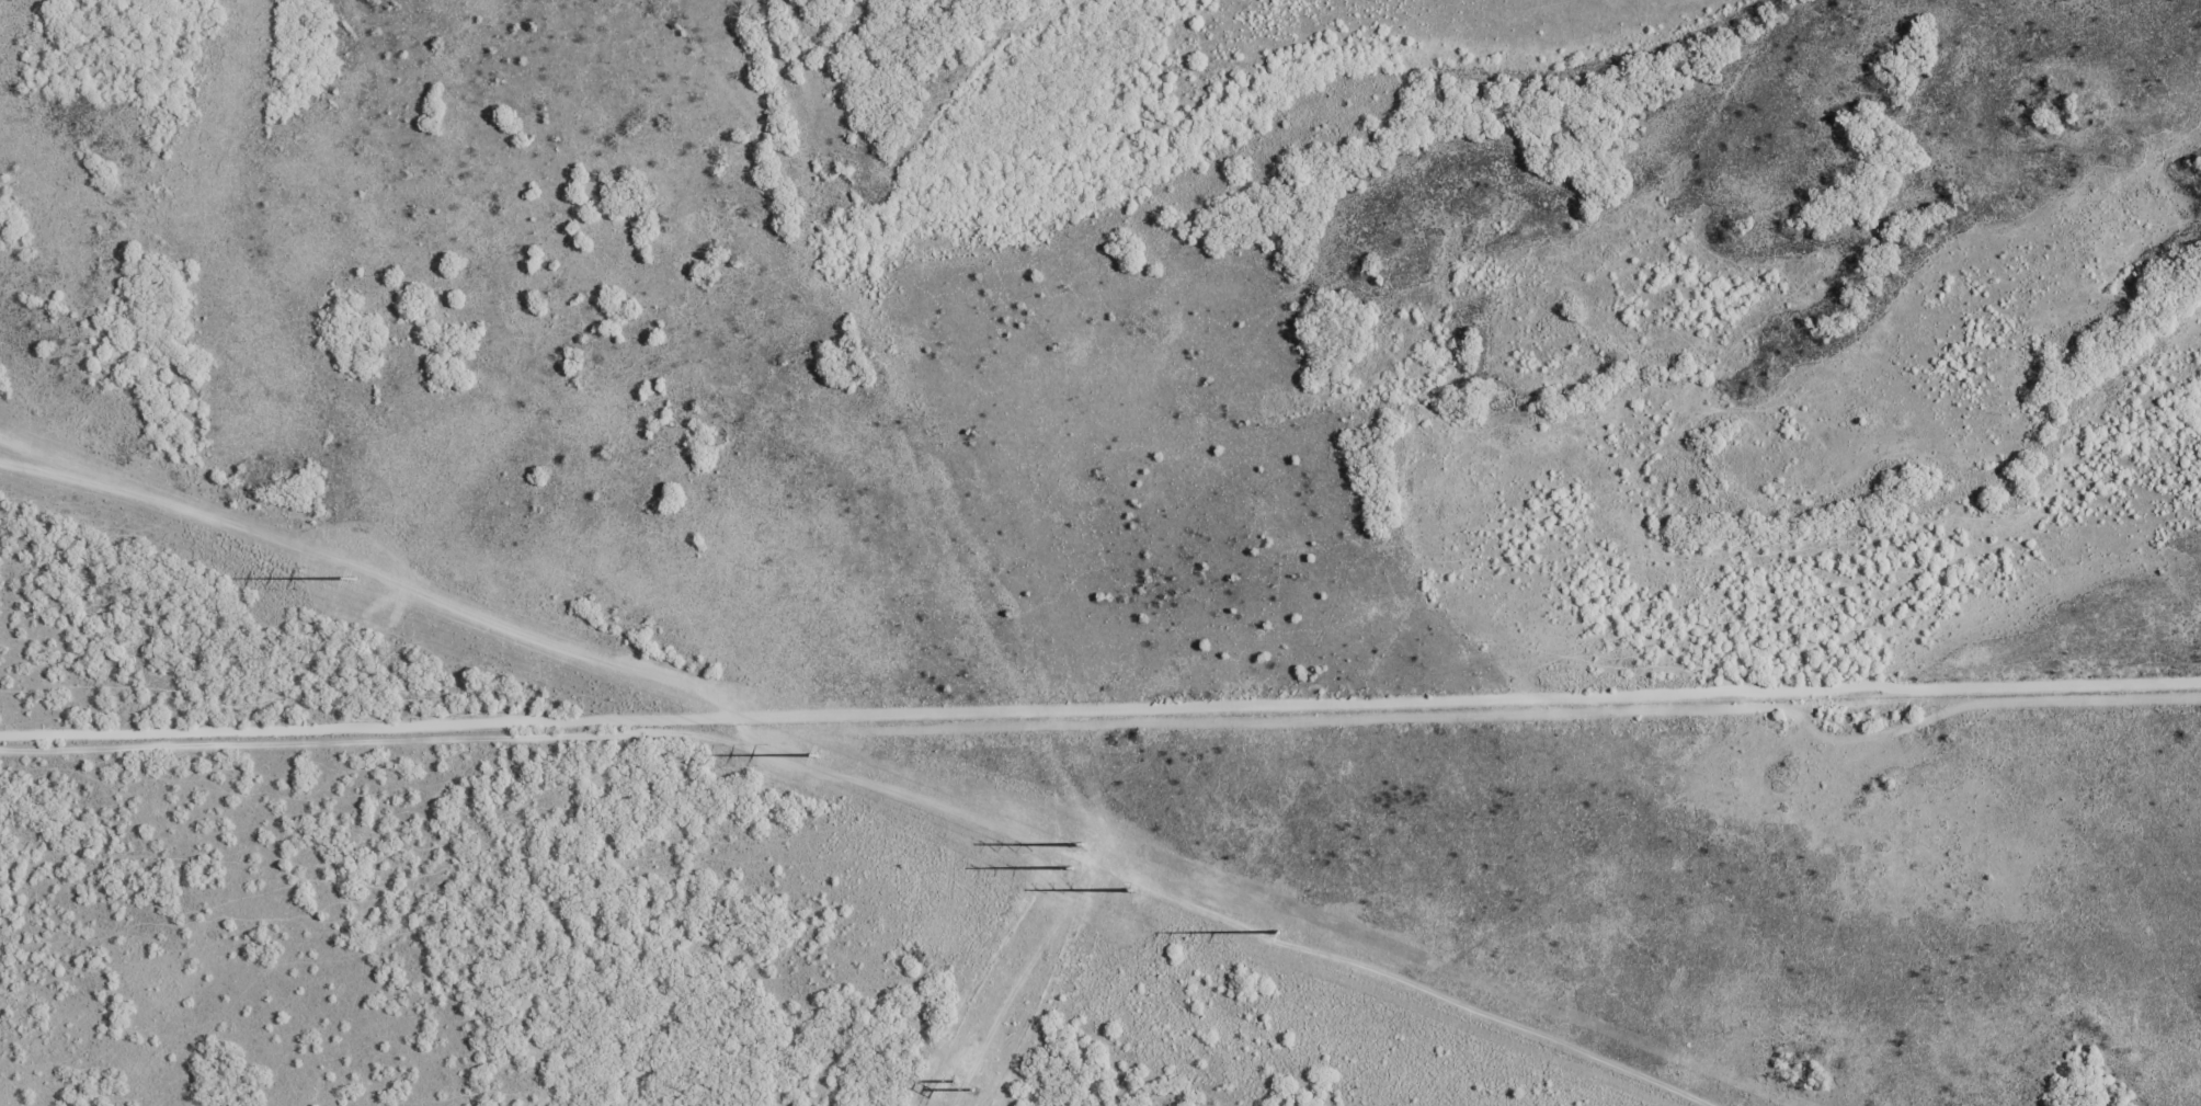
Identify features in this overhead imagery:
power tower: (362, 577)
power tower: (826, 761)
power tower: (1285, 938)

